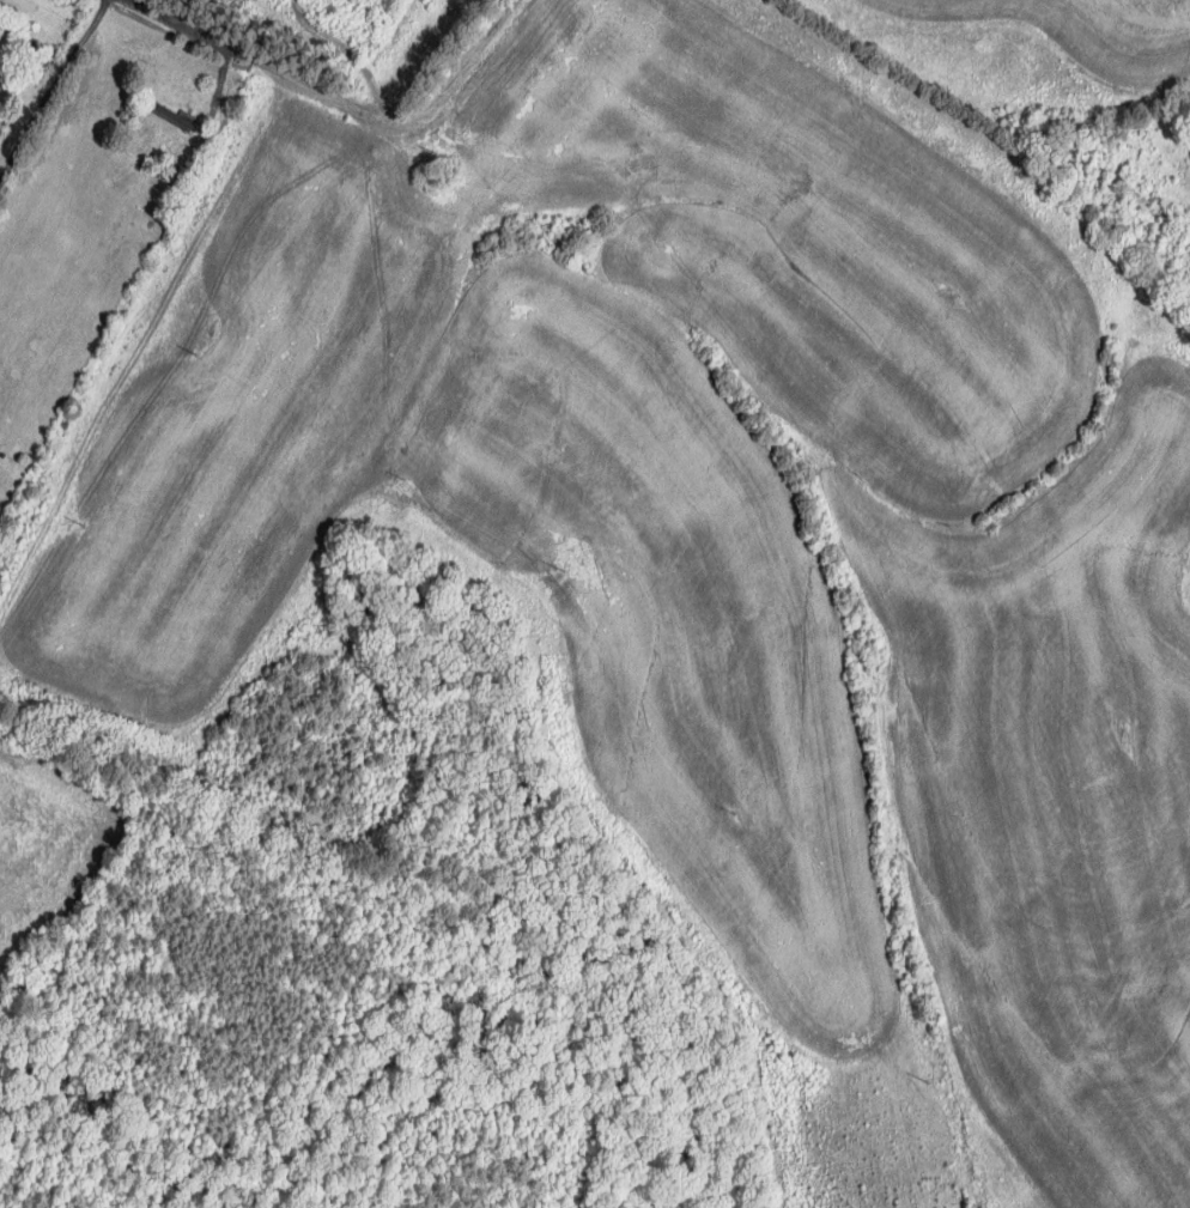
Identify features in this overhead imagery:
building: (1, 69)
road: (50, 93)
road: (339, 104)
building: (172, 115)
road: (405, 122)

